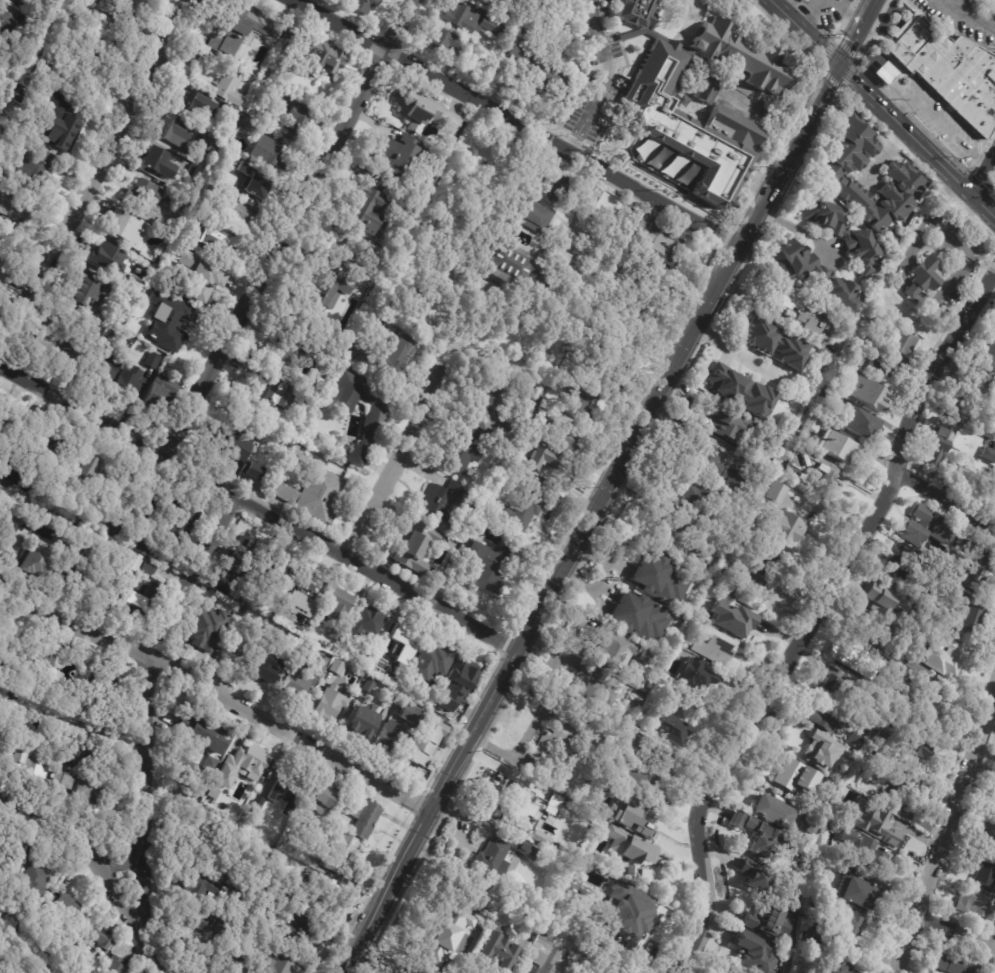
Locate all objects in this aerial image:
building: (847, 0)
building: (20, 1)
building: (803, 1)
building: (127, 2)
building: (107, 6)
building: (363, 6)
road: (988, 11)
road: (971, 15)
building: (469, 19)
building: (6, 22)
building: (238, 28)
building: (442, 43)
building: (316, 55)
building: (109, 56)
traffic signals: (834, 66)
building: (534, 68)
building: (41, 72)
building: (947, 72)
building: (884, 73)
building: (469, 74)
road: (604, 77)
building: (229, 86)
building: (659, 90)
building: (338, 91)
building: (281, 96)
building: (716, 97)
building: (195, 103)
road: (881, 110)
building: (228, 111)
building: (424, 113)
building: (296, 121)
road: (514, 121)
building: (53, 123)
building: (174, 132)
building: (670, 138)
building: (623, 144)
building: (211, 145)
building: (266, 152)
building: (395, 156)
building: (663, 161)
building: (158, 163)
building: (243, 167)
building: (29, 170)
building: (195, 174)
road: (94, 175)
building: (902, 175)
road: (984, 179)
building: (255, 187)
building: (559, 189)
building: (143, 194)
building: (182, 202)
building: (14, 206)
building: (235, 207)
building: (367, 208)
building: (531, 216)
building: (937, 218)
road: (289, 227)
road: (796, 227)
building: (125, 228)
building: (844, 232)
building: (219, 240)
building: (890, 240)
building: (661, 245)
building: (8, 246)
building: (108, 259)
building: (521, 265)
building: (817, 270)
building: (924, 275)
building: (3, 276)
building: (202, 276)
building: (134, 285)
building: (80, 289)
building: (327, 290)
building: (809, 313)
building: (167, 320)
building: (374, 323)
building: (51, 330)
building: (903, 340)
building: (854, 341)
building: (775, 343)
building: (70, 347)
building: (285, 347)
building: (330, 347)
building: (351, 349)
road: (734, 350)
building: (394, 352)
building: (988, 353)
building: (612, 355)
building: (153, 360)
building: (104, 366)
building: (840, 367)
building: (886, 368)
building: (960, 379)
building: (990, 380)
building: (127, 384)
building: (740, 391)
building: (867, 391)
building: (827, 393)
building: (158, 396)
building: (270, 398)
building: (582, 402)
building: (954, 405)
building: (975, 409)
building: (498, 414)
building: (858, 420)
building: (814, 421)
building: (5, 422)
building: (963, 422)
building: (730, 423)
building: (372, 426)
building: (980, 429)
building: (775, 439)
building: (285, 441)
building: (936, 443)
building: (836, 446)
building: (41, 450)
building: (464, 450)
building: (553, 450)
building: (297, 452)
building: (988, 453)
building: (239, 456)
building: (539, 458)
building: (91, 464)
building: (813, 465)
building: (721, 468)
road: (391, 469)
building: (956, 470)
building: (9, 477)
building: (989, 481)
road: (602, 484)
building: (777, 491)
building: (315, 496)
building: (115, 498)
building: (694, 499)
building: (85, 503)
building: (441, 503)
road: (946, 503)
building: (524, 504)
road: (257, 506)
building: (147, 507)
building: (34, 523)
building: (177, 526)
building: (785, 528)
building: (928, 530)
building: (65, 538)
building: (671, 538)
building: (10, 541)
building: (140, 542)
building: (412, 549)
building: (246, 561)
building: (768, 563)
building: (904, 563)
building: (975, 563)
building: (132, 564)
building: (39, 565)
building: (485, 567)
building: (74, 568)
road: (607, 572)
building: (279, 577)
building: (660, 577)
building: (105, 587)
building: (303, 588)
building: (746, 588)
building: (232, 591)
building: (879, 596)
building: (143, 603)
building: (338, 612)
building: (968, 613)
building: (638, 616)
building: (734, 617)
road: (813, 619)
building: (303, 620)
building: (370, 623)
building: (930, 624)
building: (206, 628)
building: (875, 630)
building: (280, 635)
building: (381, 637)
building: (402, 645)
building: (326, 647)
building: (6, 650)
building: (610, 650)
building: (721, 651)
building: (848, 653)
building: (947, 656)
building: (37, 658)
building: (321, 659)
building: (429, 663)
building: (890, 665)
building: (379, 666)
building: (264, 668)
building: (337, 668)
building: (914, 672)
building: (462, 677)
building: (706, 679)
building: (295, 682)
building: (838, 685)
building: (367, 686)
building: (590, 686)
building: (97, 692)
road: (219, 696)
road: (145, 698)
building: (638, 700)
building: (934, 701)
building: (329, 704)
building: (448, 706)
building: (408, 714)
building: (824, 716)
building: (675, 717)
building: (360, 723)
building: (199, 733)
building: (882, 736)
building: (389, 737)
building: (554, 740)
building: (855, 740)
building: (423, 743)
building: (915, 745)
building: (825, 749)
building: (89, 753)
building: (652, 754)
building: (26, 762)
building: (210, 764)
building: (242, 766)
road: (504, 768)
building: (189, 772)
building: (797, 776)
building: (61, 780)
building: (639, 782)
building: (866, 784)
building: (903, 784)
building: (88, 788)
building: (284, 794)
building: (318, 798)
building: (555, 801)
building: (256, 803)
building: (992, 805)
building: (517, 806)
building: (773, 811)
building: (632, 813)
building: (363, 817)
building: (811, 823)
building: (877, 825)
road: (947, 829)
building: (760, 836)
building: (987, 837)
building: (629, 845)
building: (335, 849)
building: (259, 850)
building: (499, 853)
building: (869, 855)
building: (13, 858)
road: (123, 861)
road: (100, 867)
building: (983, 872)
building: (757, 875)
building: (639, 876)
building: (194, 878)
building: (32, 880)
building: (272, 885)
building: (208, 888)
building: (312, 891)
building: (856, 893)
building: (472, 894)
building: (974, 901)
building: (62, 908)
building: (627, 914)
building: (201, 919)
building: (768, 922)
building: (303, 923)
building: (532, 924)
building: (848, 925)
road: (956, 931)
building: (819, 932)
building: (447, 935)
building: (90, 938)
building: (497, 948)
building: (240, 949)
building: (754, 953)
building: (545, 955)
building: (63, 959)
road: (377, 962)
building: (955, 963)
building: (275, 964)
building: (114, 966)
building: (835, 968)
building: (37, 970)

